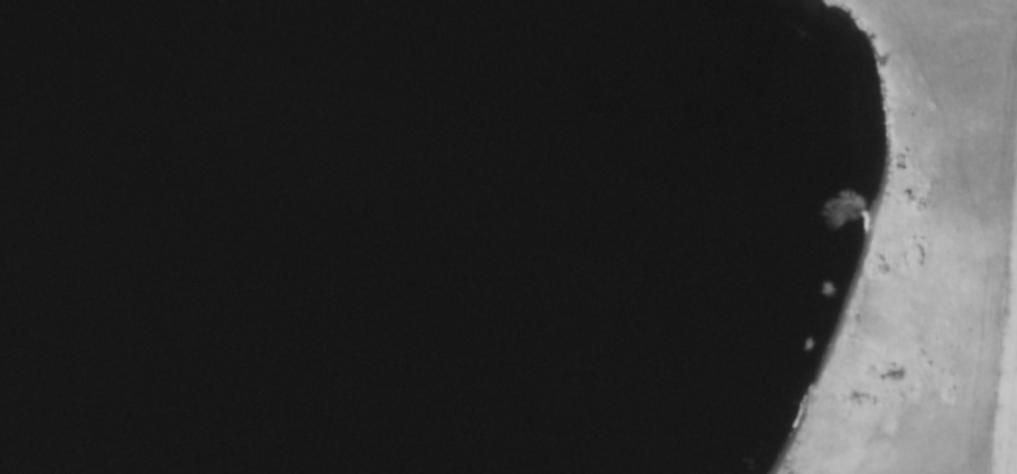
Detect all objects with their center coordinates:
road: (972, 227)

